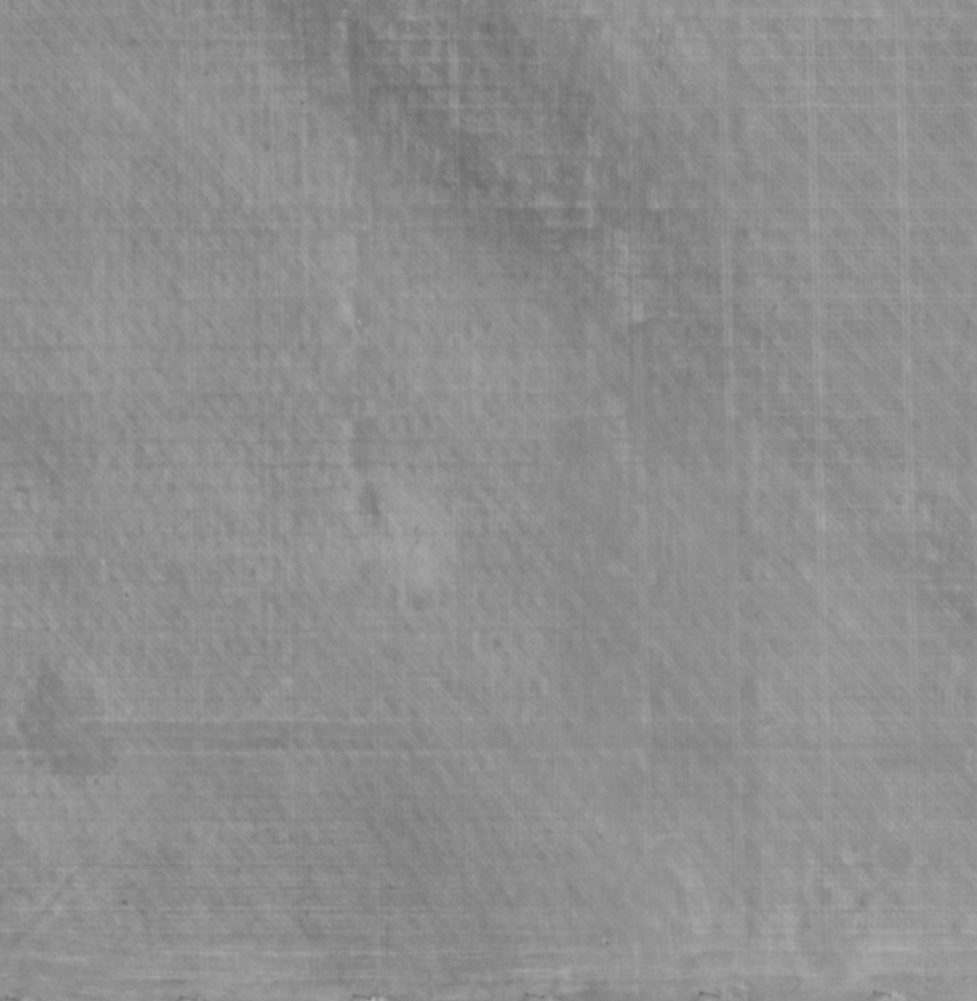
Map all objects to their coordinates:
crop: (488, 499)

